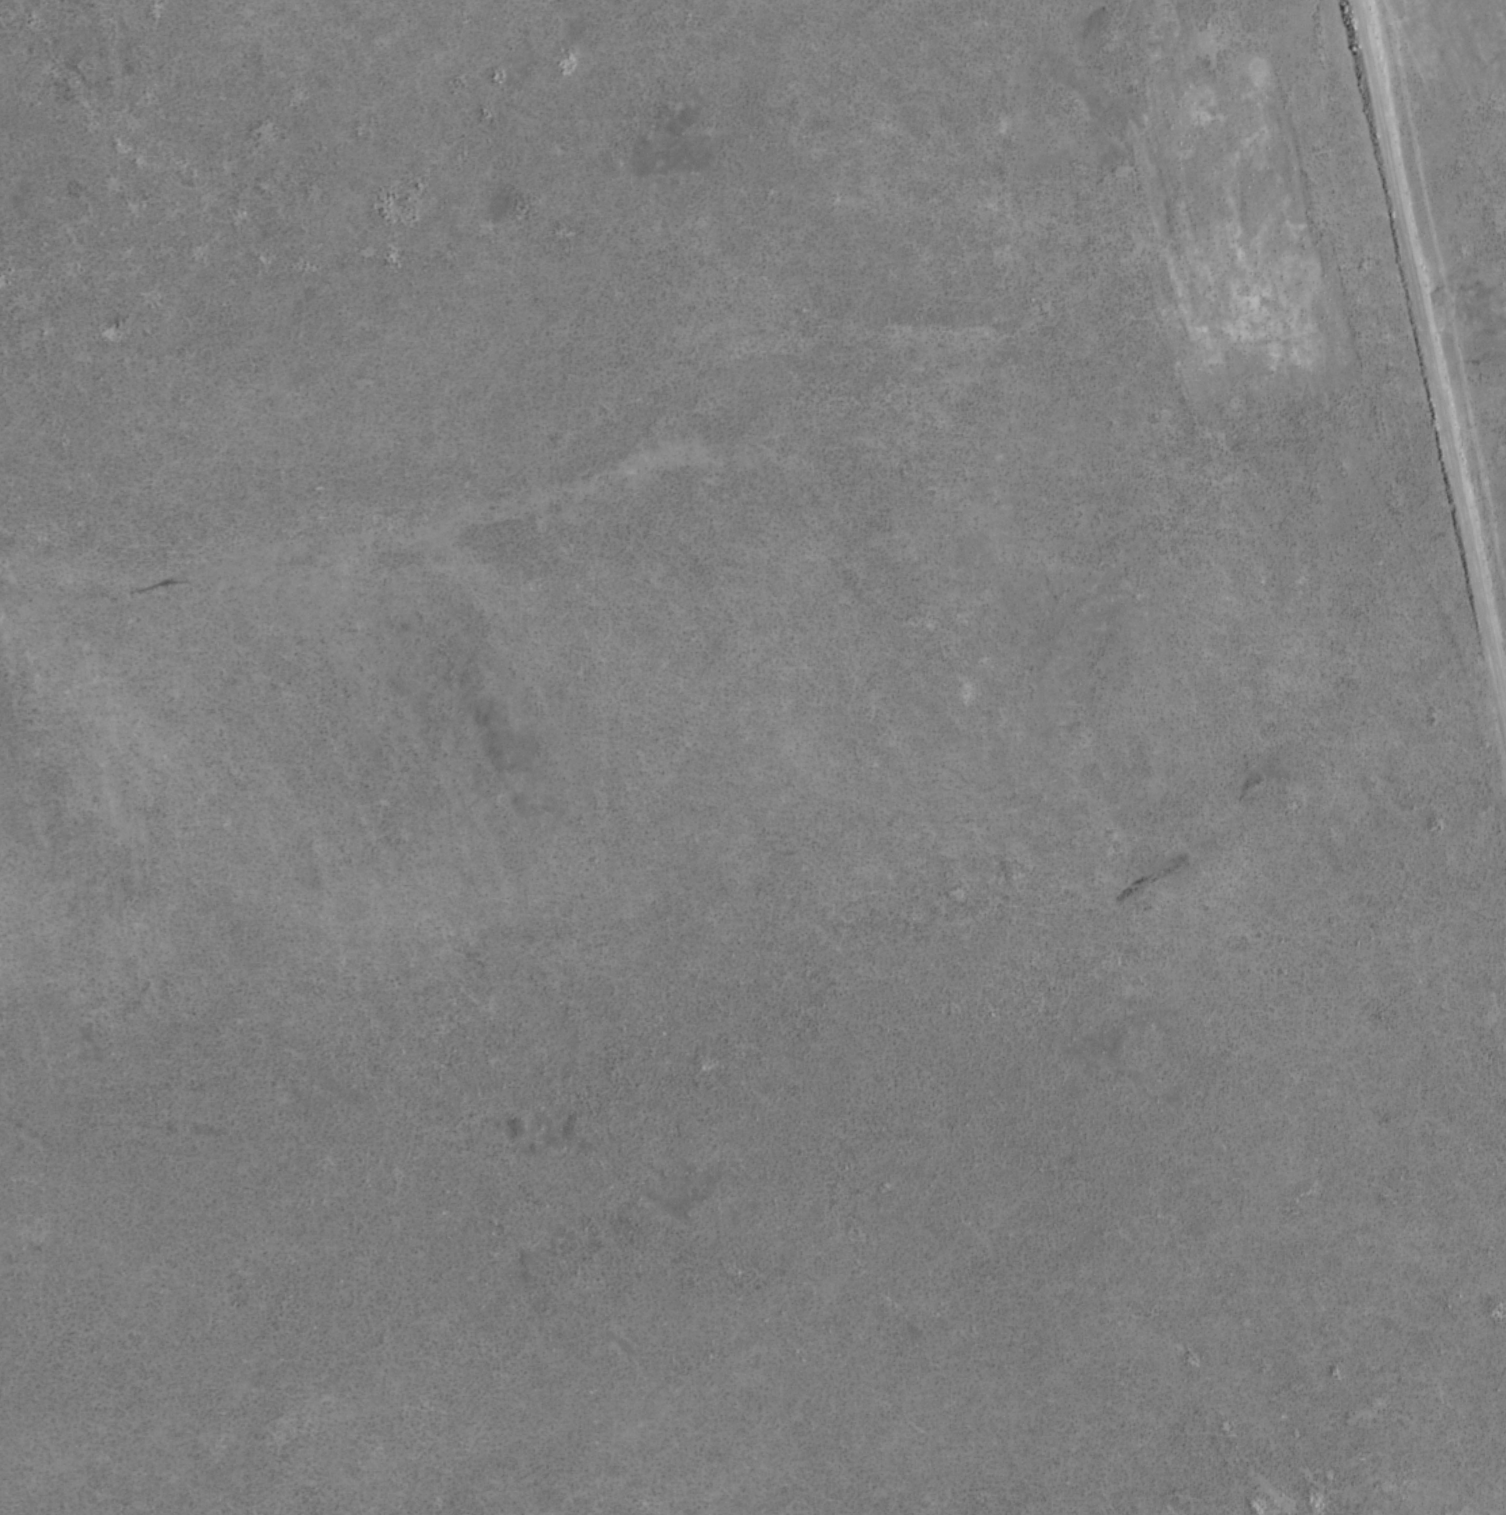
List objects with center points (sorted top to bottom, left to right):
road: (1430, 363)

